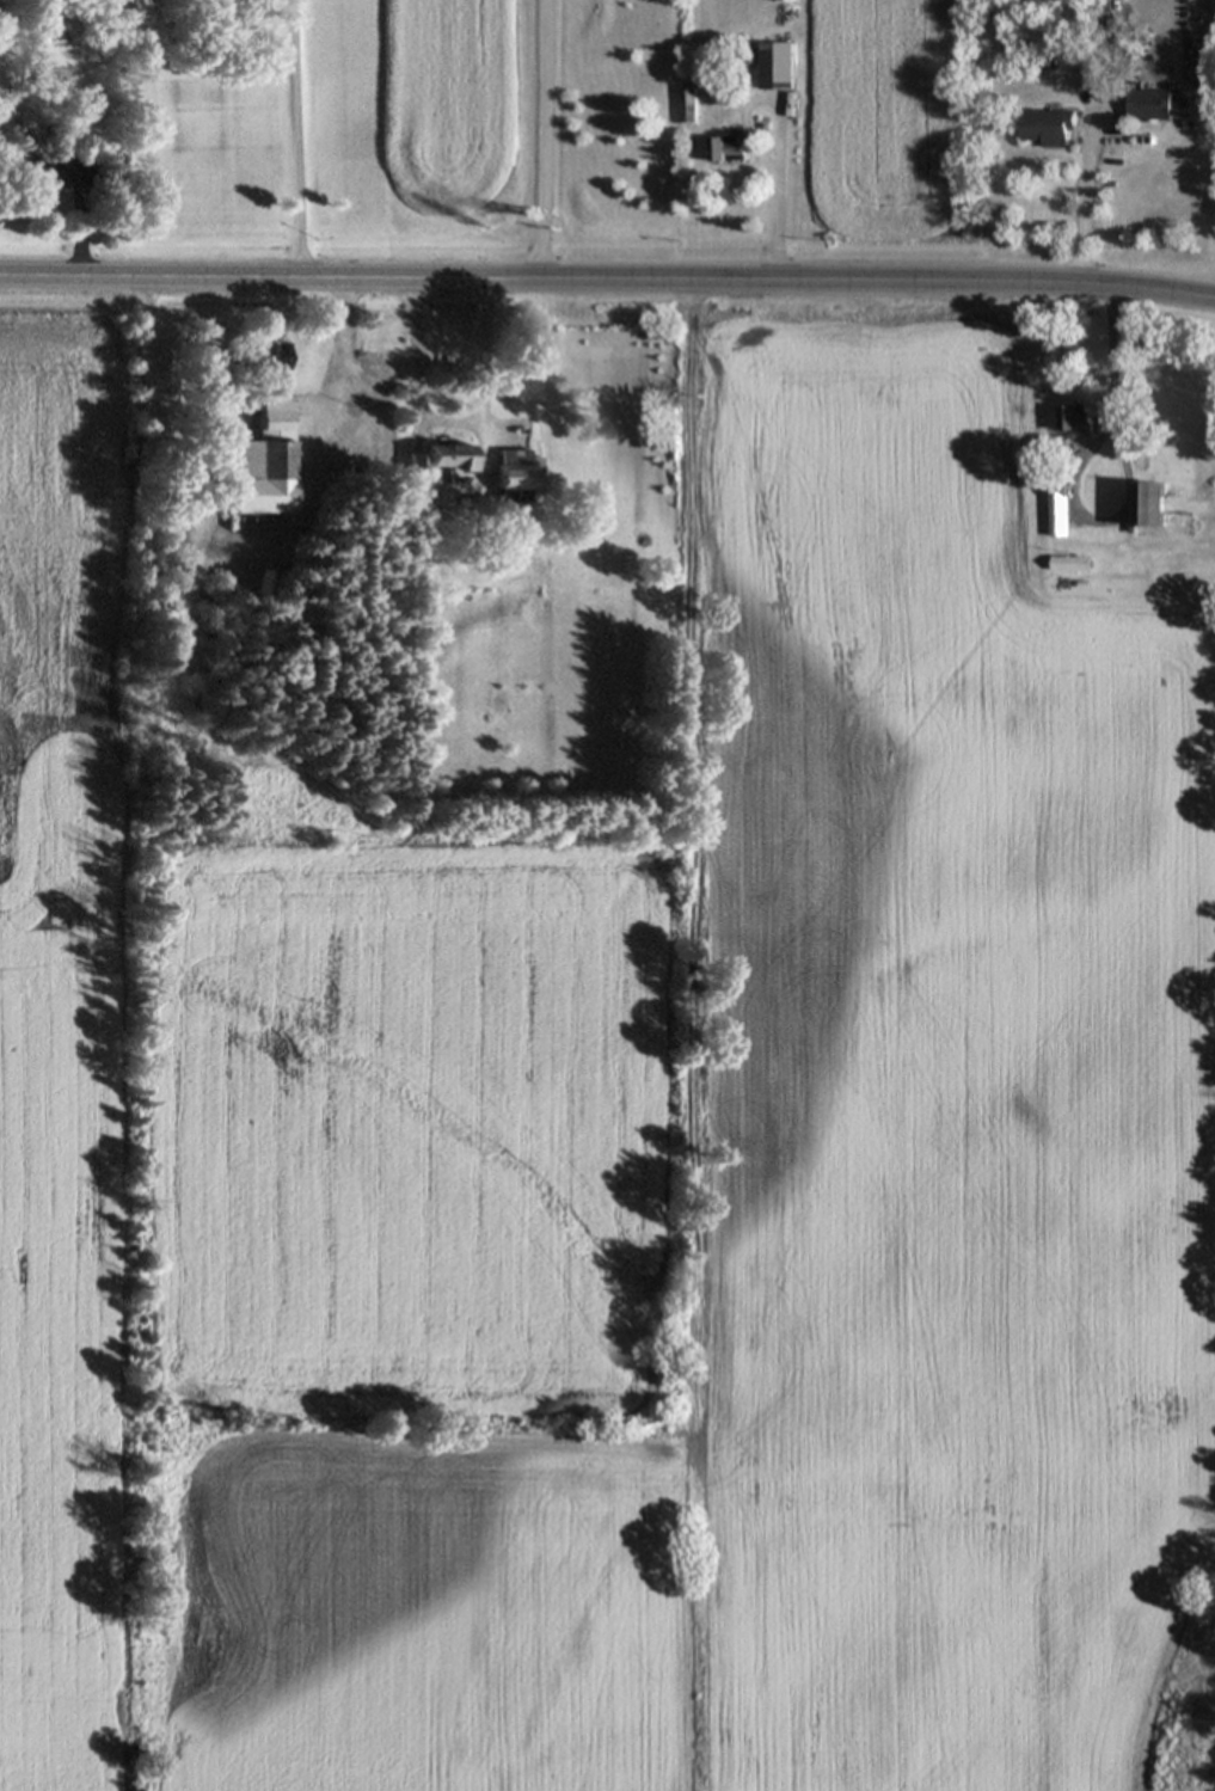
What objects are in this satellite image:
building: (1090, 79)
building: (1150, 104)
building: (1048, 128)
road: (297, 139)
road: (544, 140)
building: (55, 178)
road: (1082, 206)
road: (778, 208)
road: (607, 281)
road: (339, 356)
building: (269, 360)
road: (1112, 390)
road: (452, 425)
building: (260, 458)
building: (450, 461)
building: (417, 465)
building: (516, 477)

